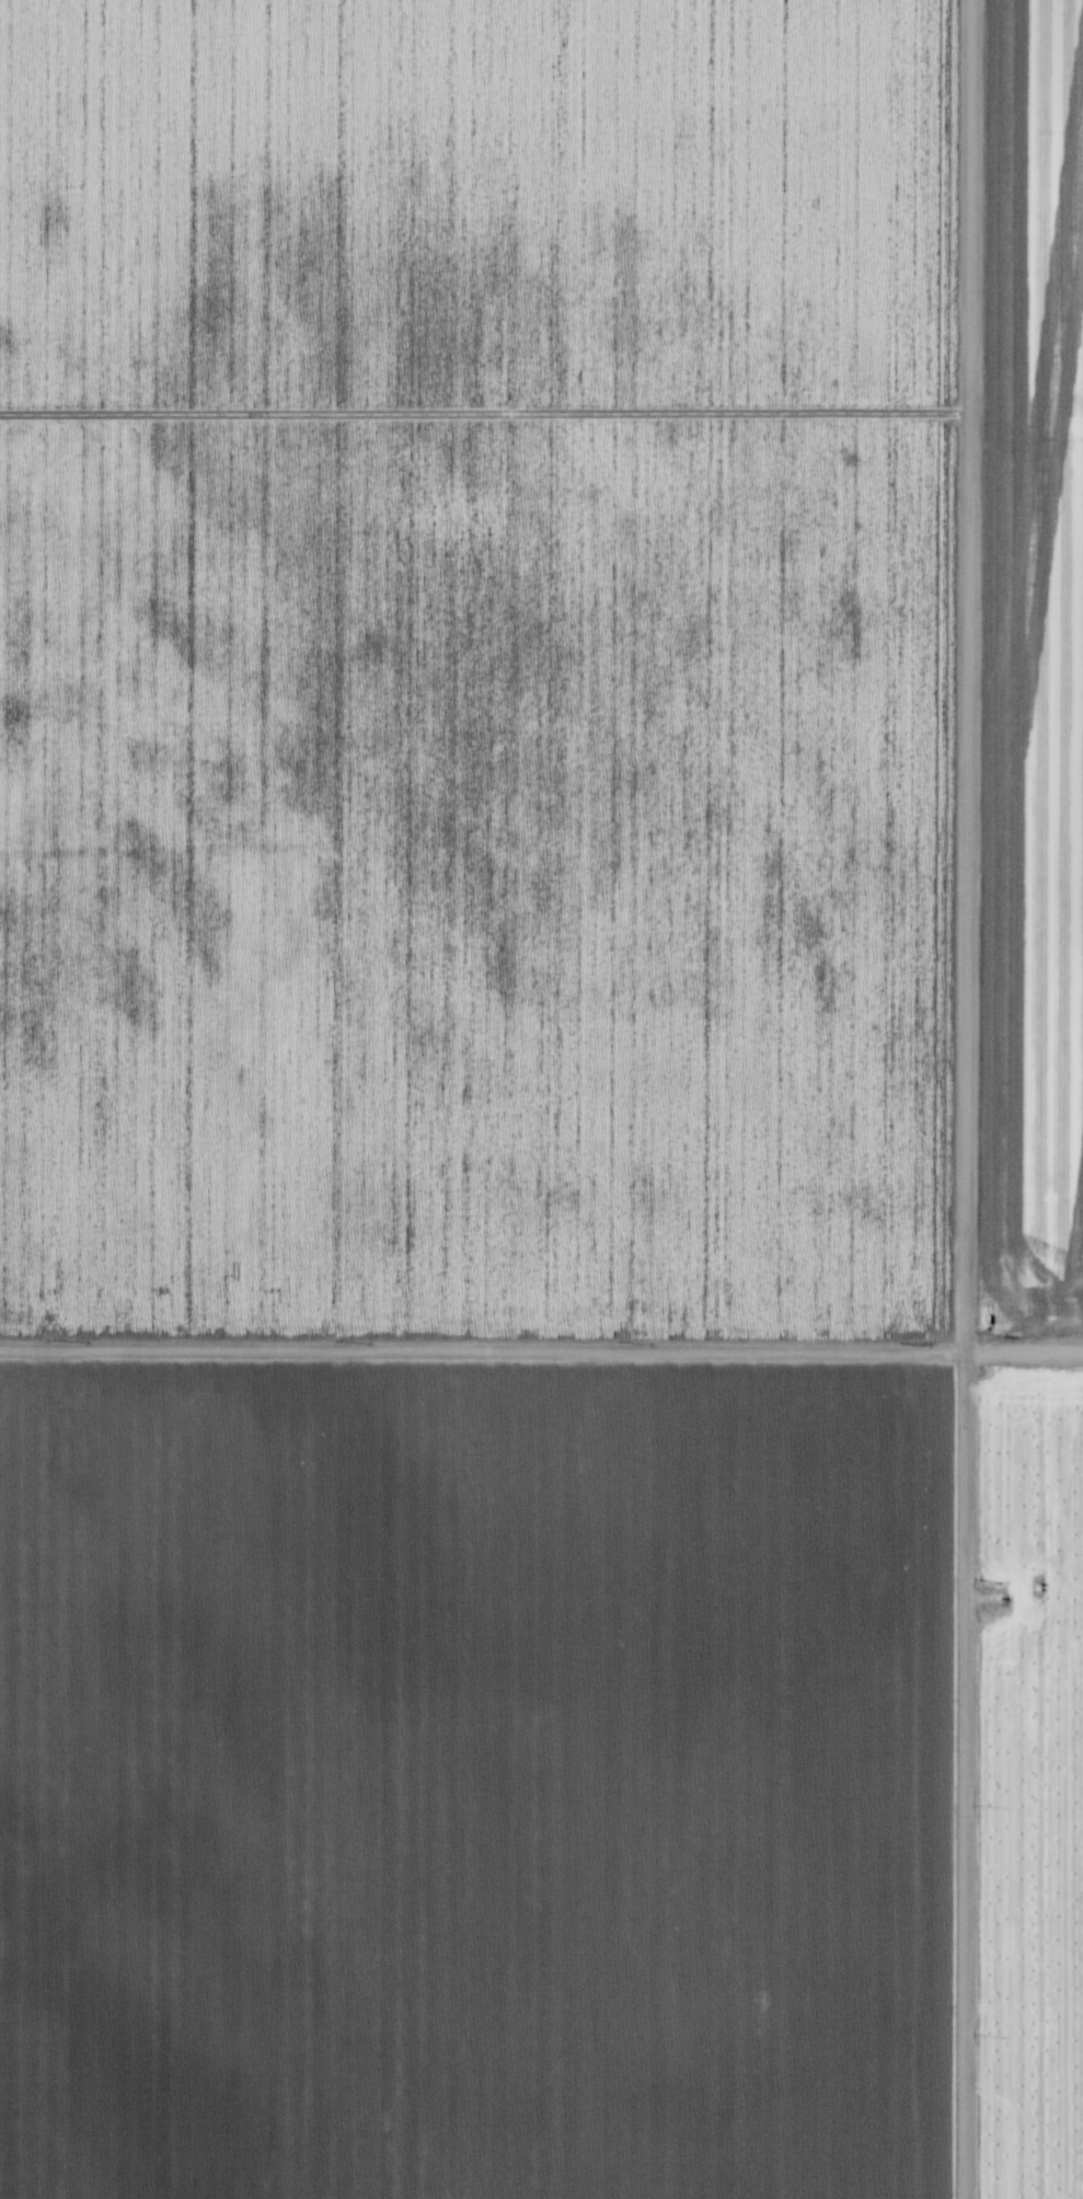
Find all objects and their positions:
road: (972, 1098)

